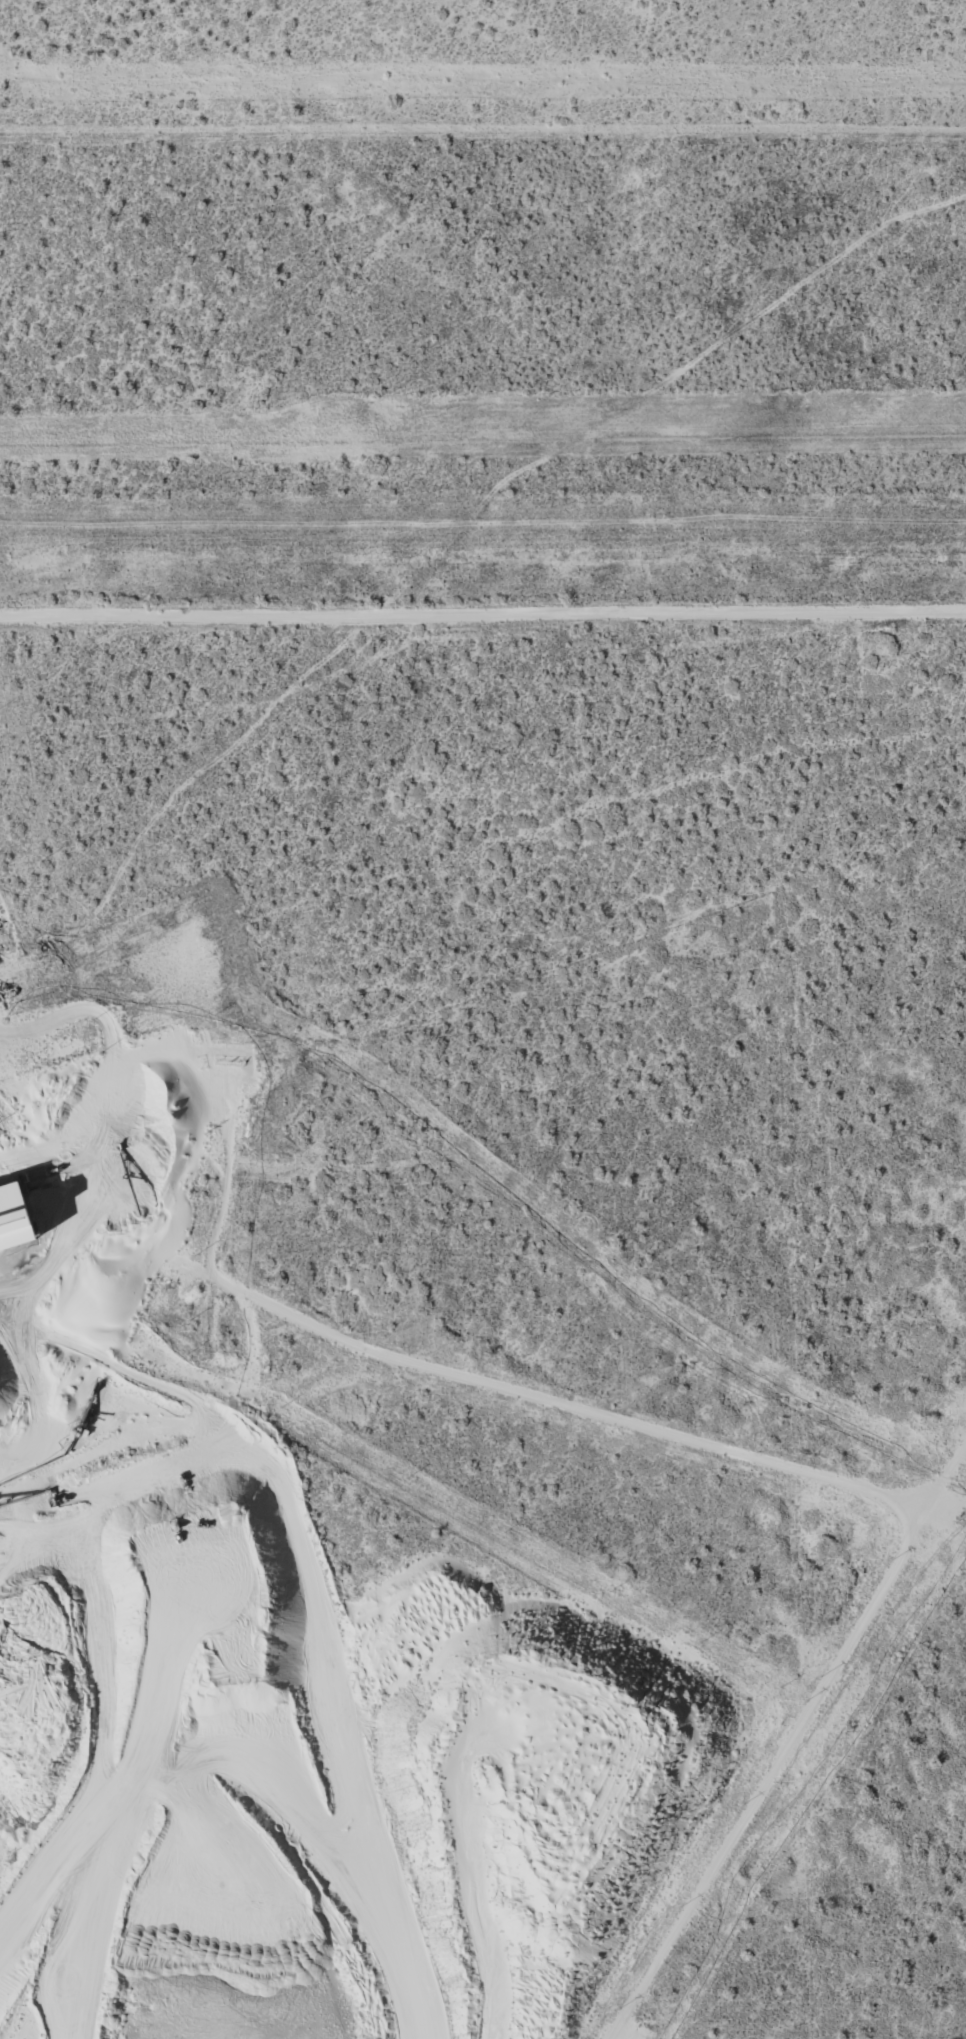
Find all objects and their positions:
building: (20, 1217)
quarry: (276, 1595)

